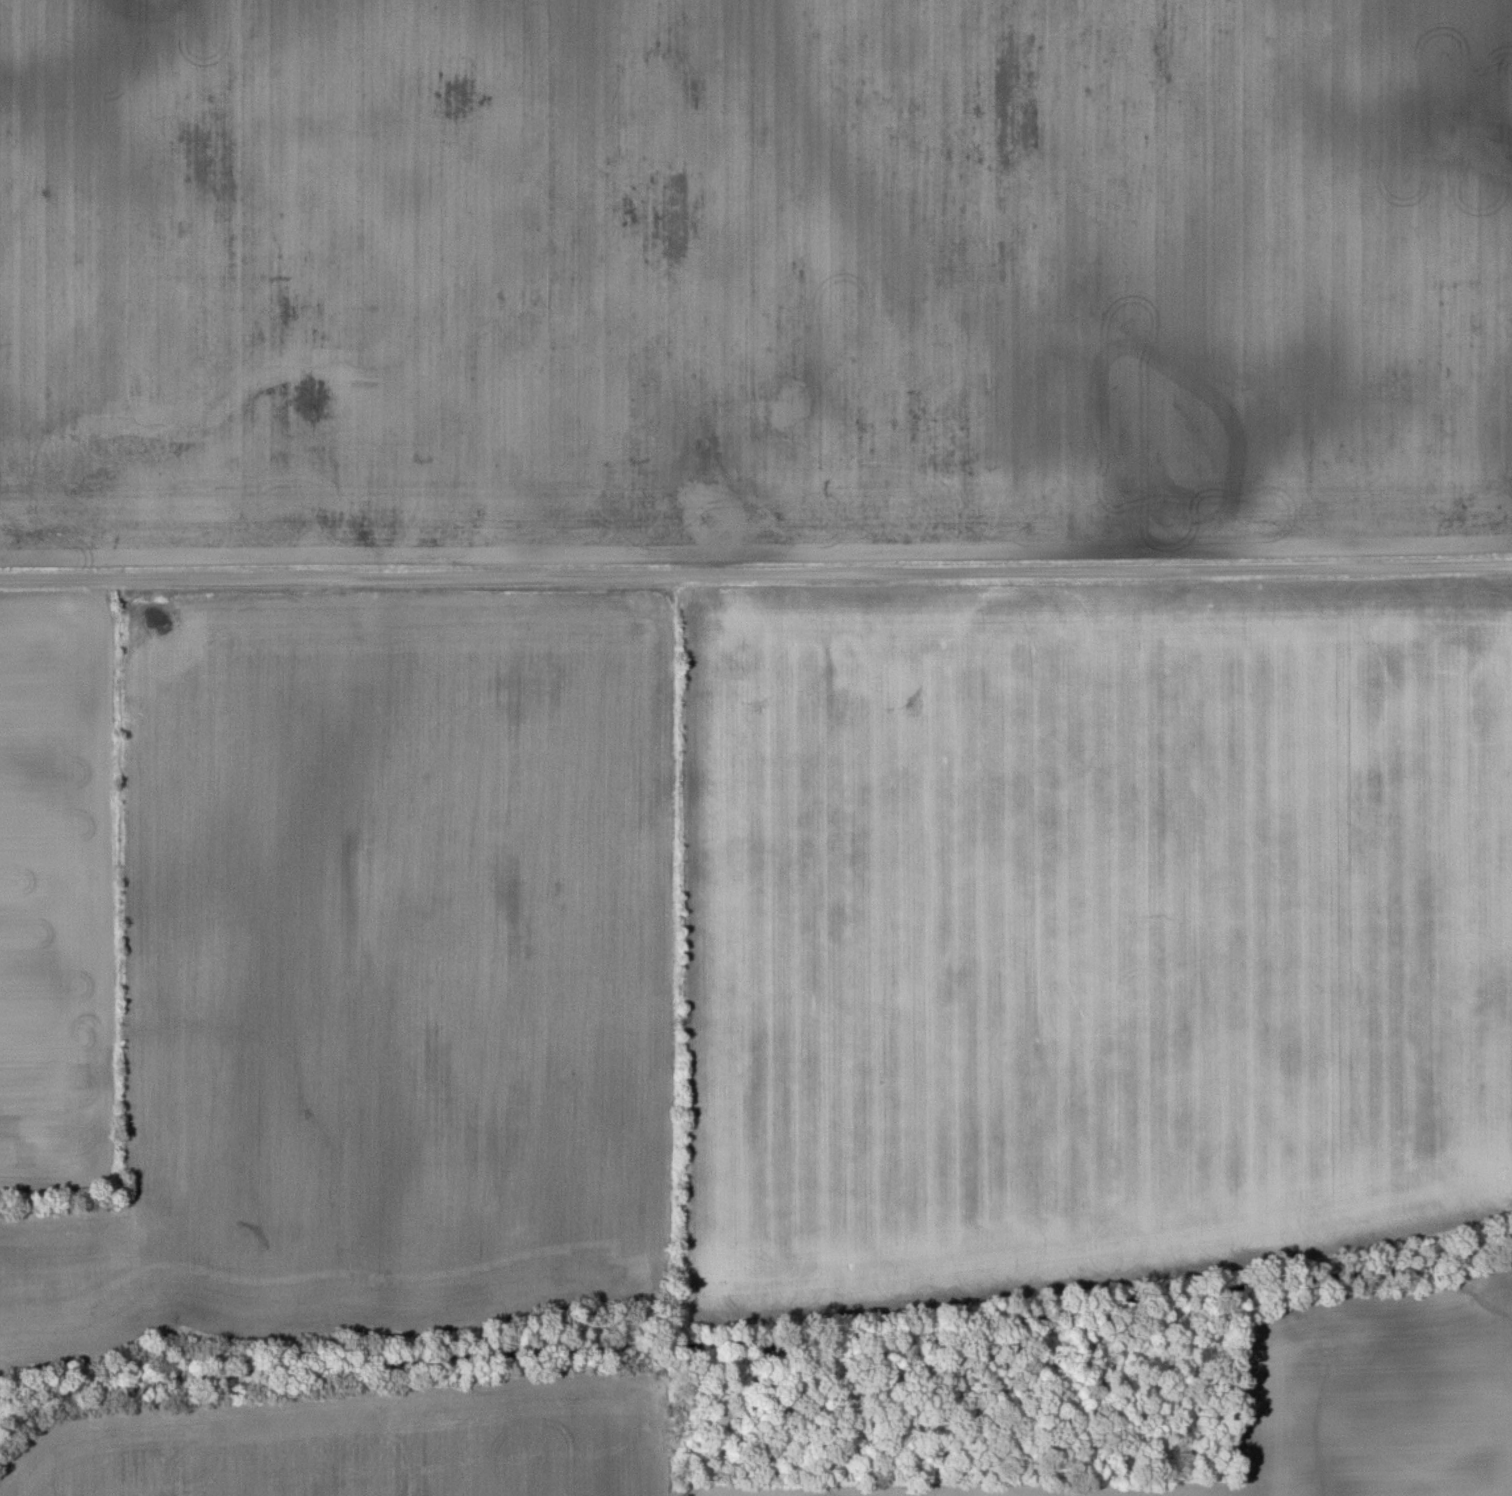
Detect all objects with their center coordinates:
road: (756, 569)

